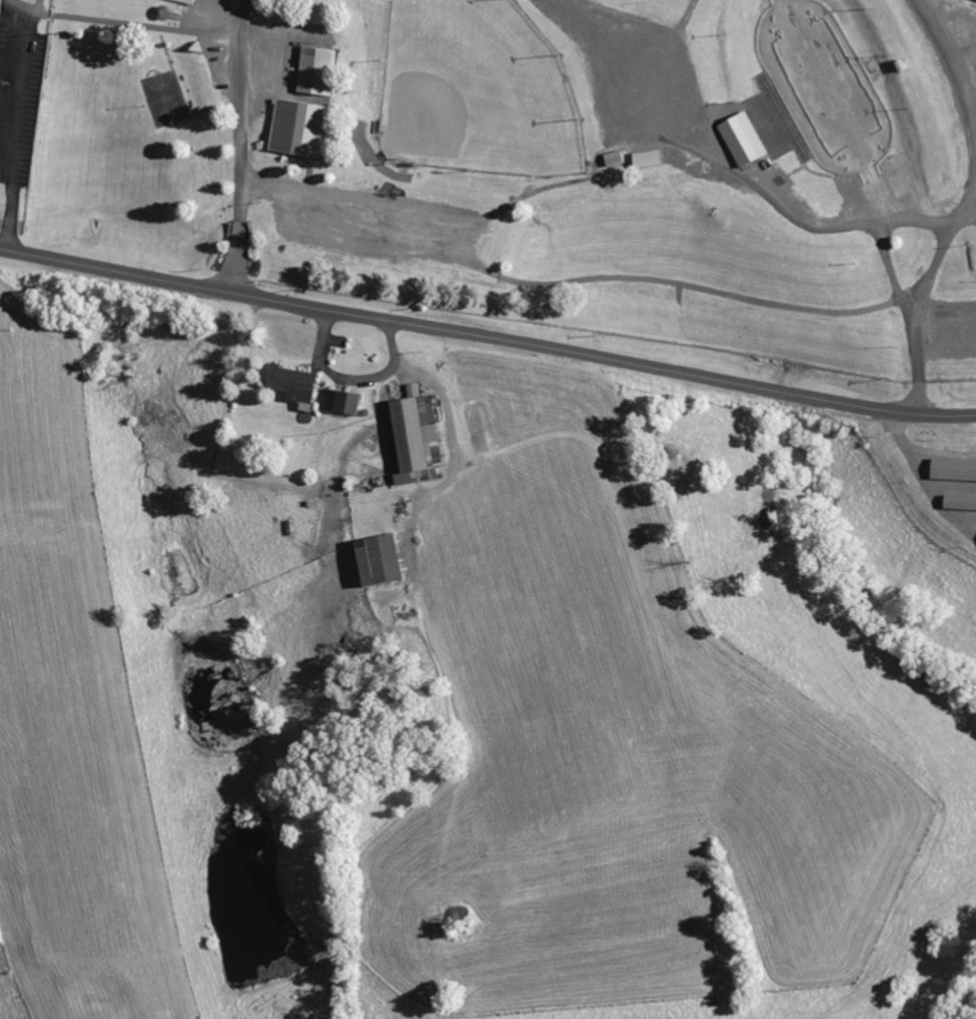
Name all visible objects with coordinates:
building: (188, 0)
building: (318, 70)
park: (476, 90)
building: (300, 128)
road: (16, 137)
building: (739, 138)
road: (596, 156)
building: (617, 158)
building: (651, 158)
park: (542, 162)
road: (7, 169)
road: (219, 244)
road: (108, 268)
road: (595, 355)
building: (298, 382)
building: (346, 400)
building: (422, 436)
building: (950, 469)
building: (957, 501)
building: (385, 559)

